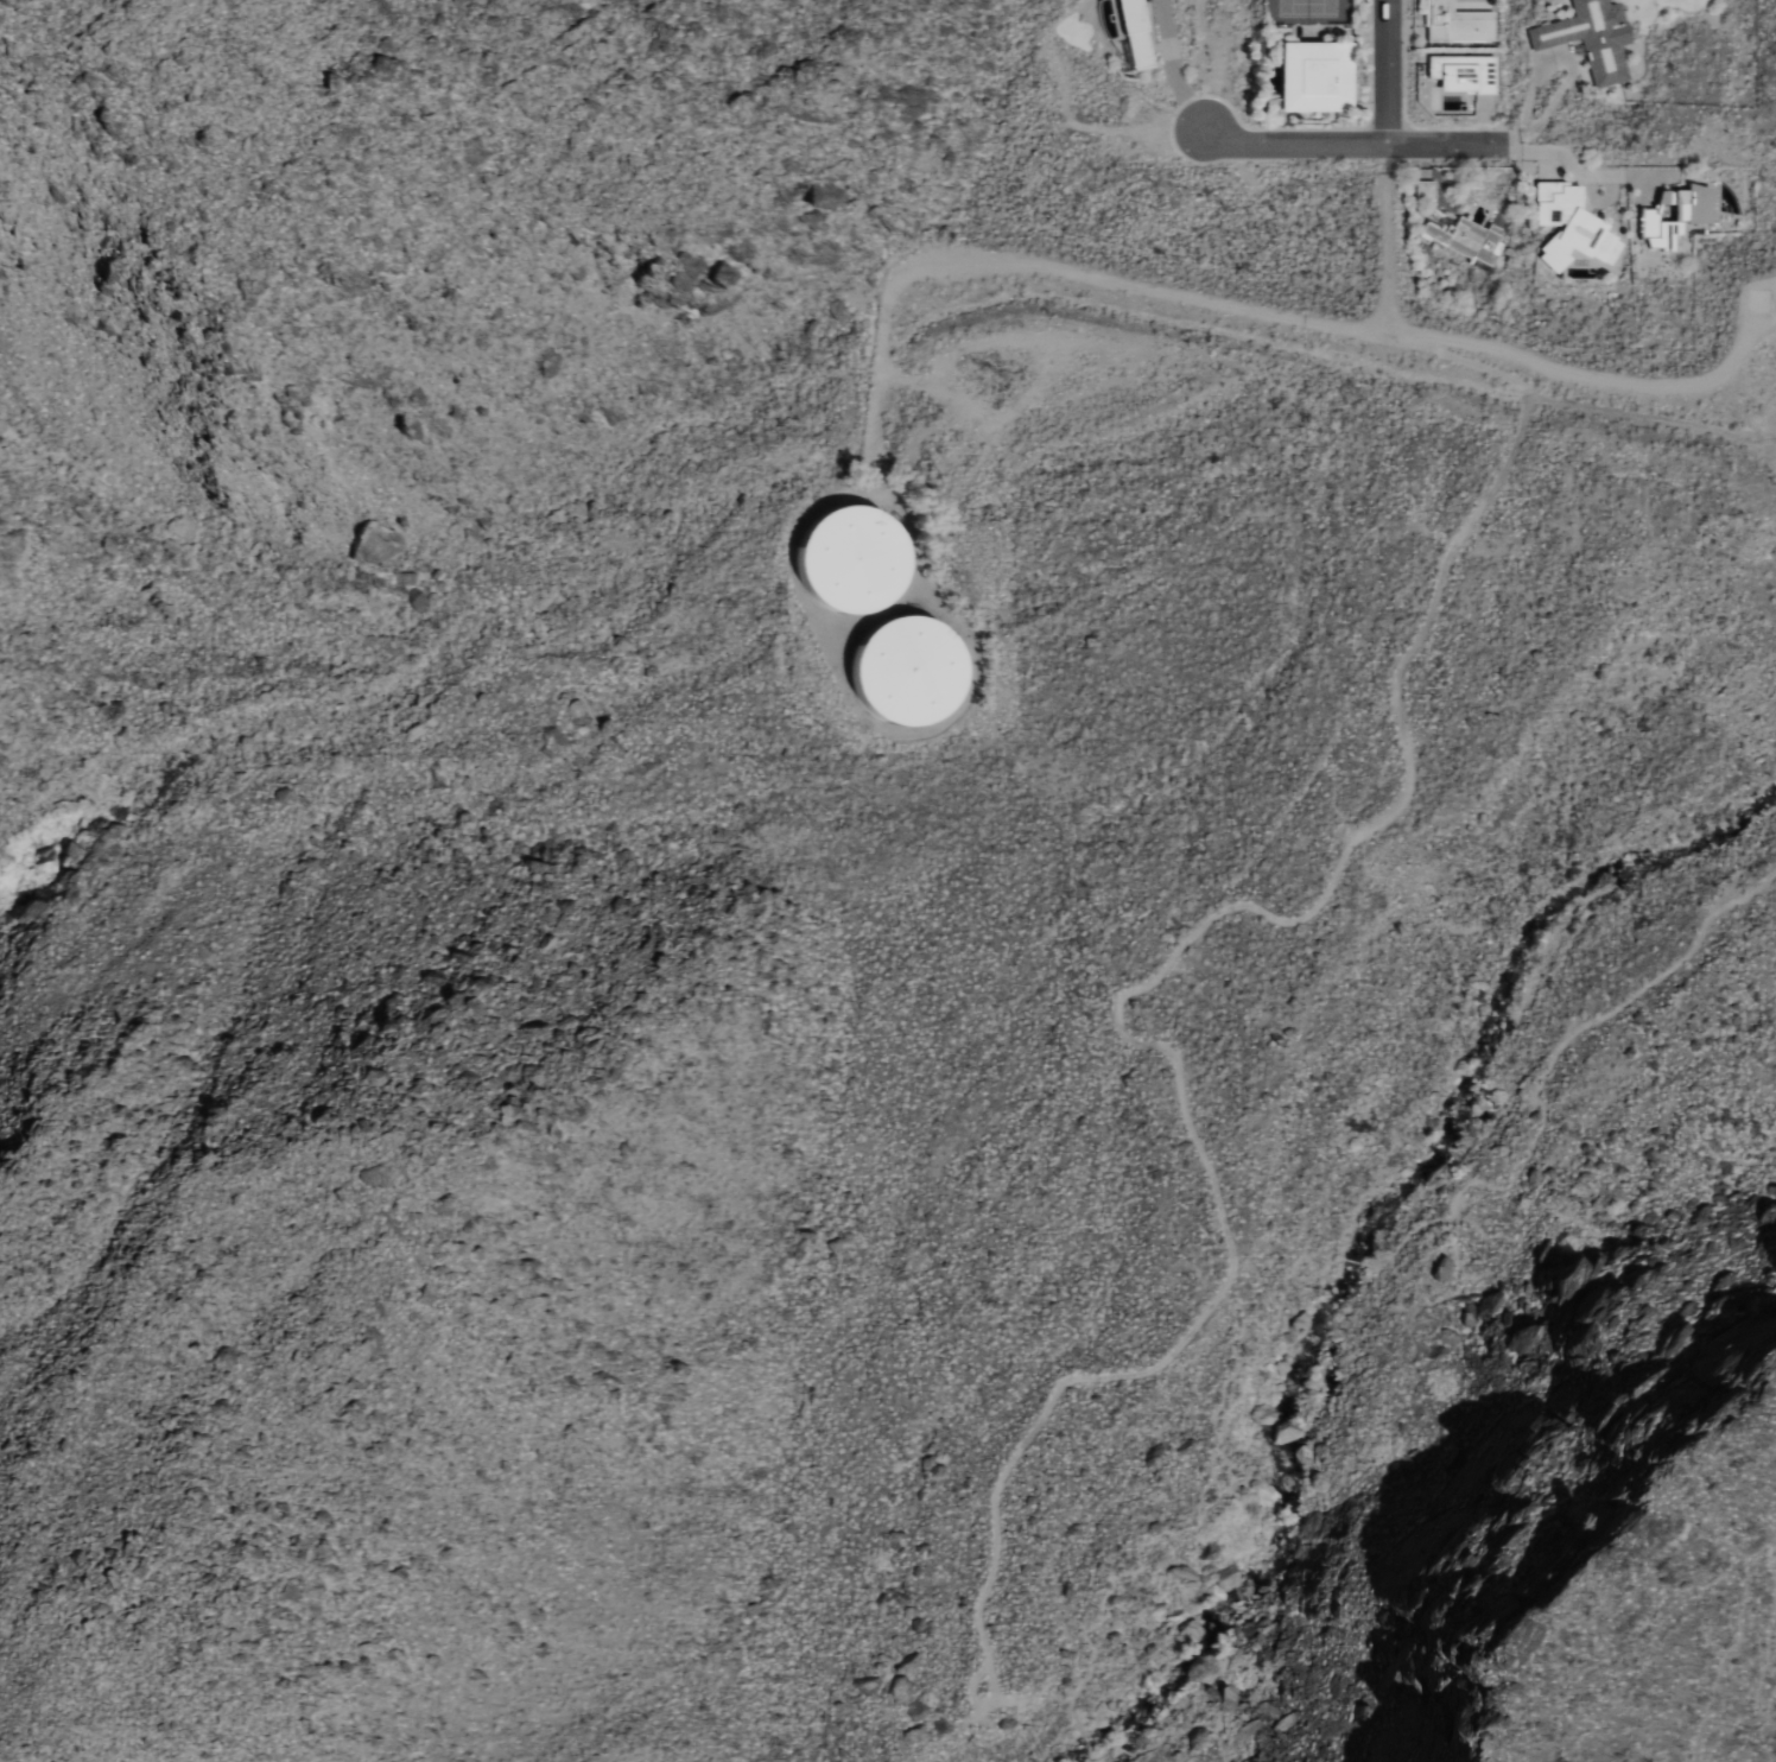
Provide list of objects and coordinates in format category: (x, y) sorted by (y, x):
building: (1455, 23)
building: (1137, 33)
road: (1173, 69)
road: (1389, 74)
road: (1573, 75)
building: (1319, 76)
road: (1352, 147)
road: (1588, 176)
building: (1676, 213)
building: (1568, 226)
road: (1119, 279)
road: (1590, 378)
building: (856, 560)
road: (1606, 1242)
road: (1346, 1263)
road: (1737, 1557)
road: (1213, 1725)
road: (1071, 1728)

